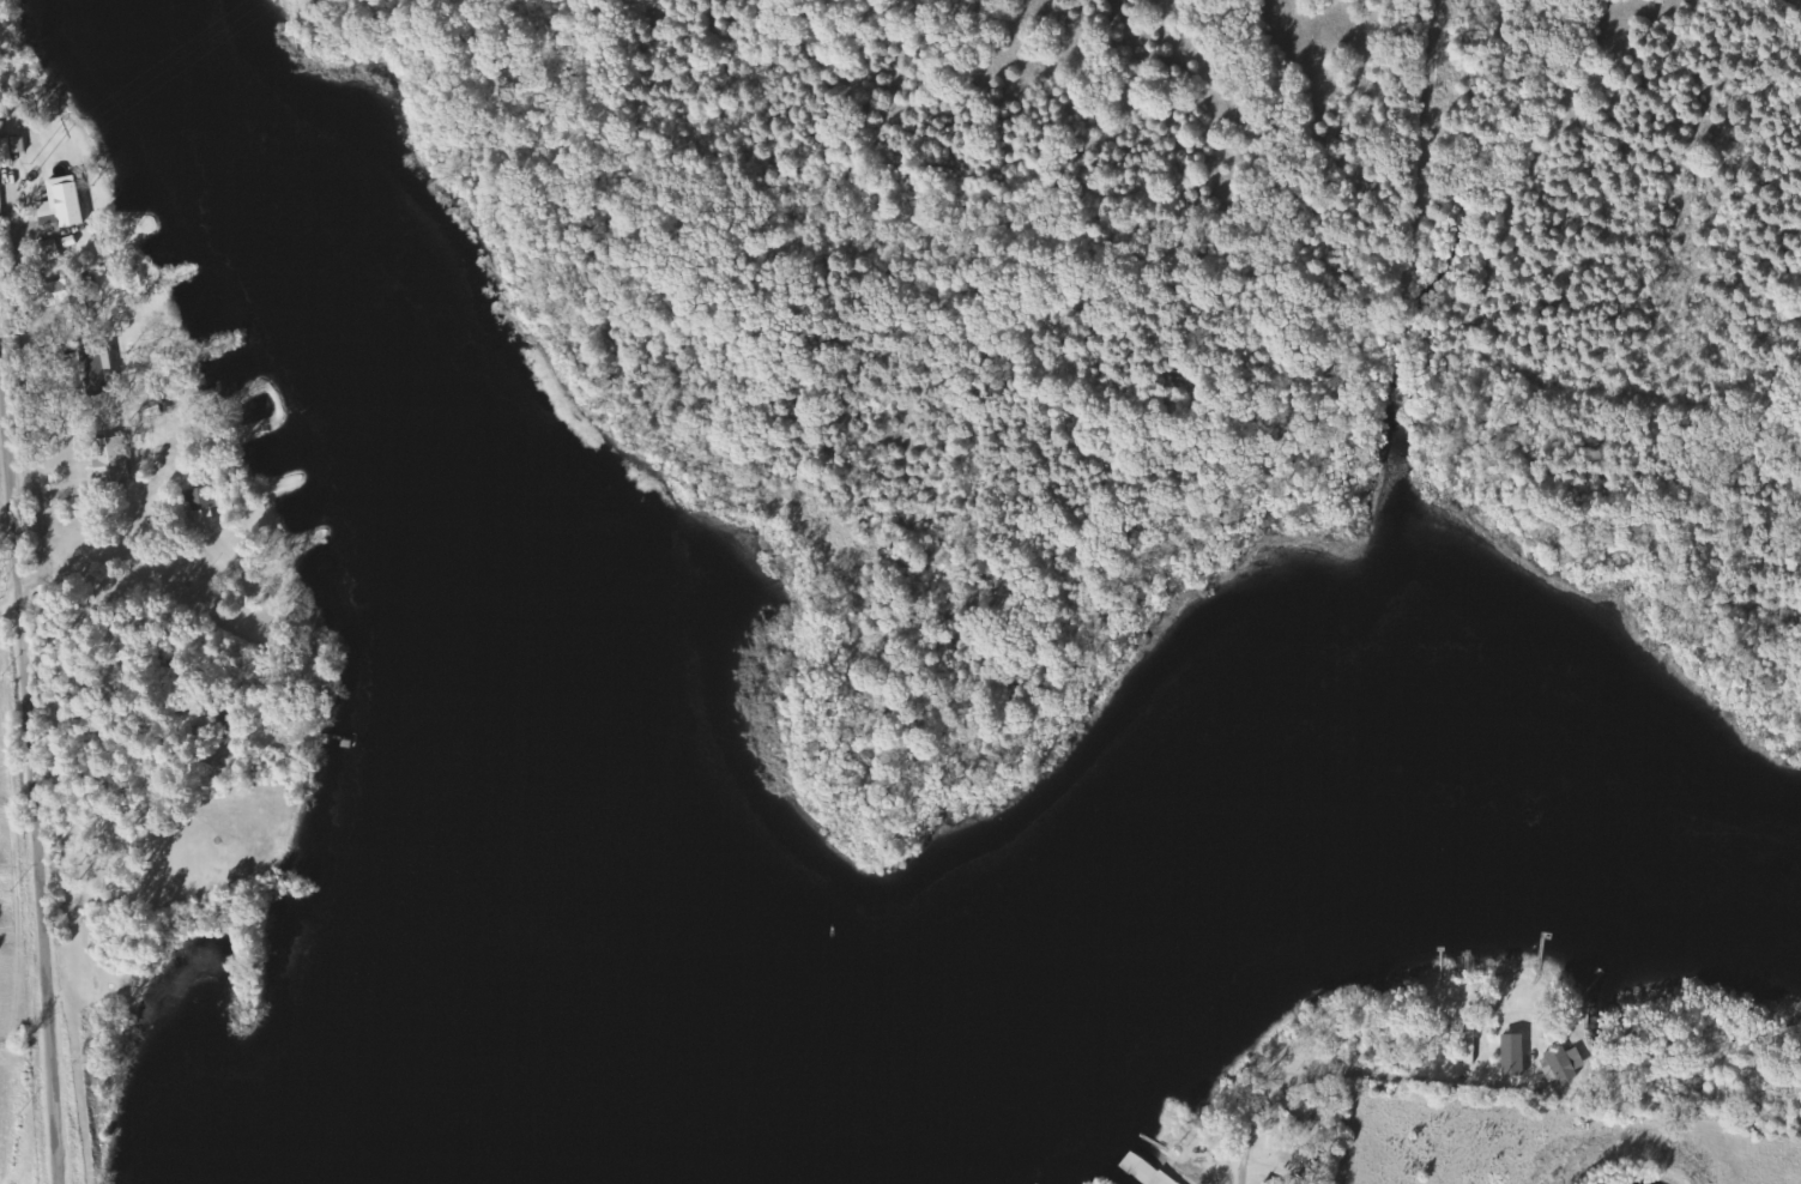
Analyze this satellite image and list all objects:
building: (13, 149)
power tower: (32, 168)
building: (64, 205)
building: (52, 249)
building: (67, 296)
building: (96, 366)
building: (115, 459)
building: (203, 505)
road: (105, 691)
road: (137, 829)
road: (13, 859)
building: (1515, 1056)
building: (1561, 1065)
road: (1295, 1067)
building: (1146, 1171)

